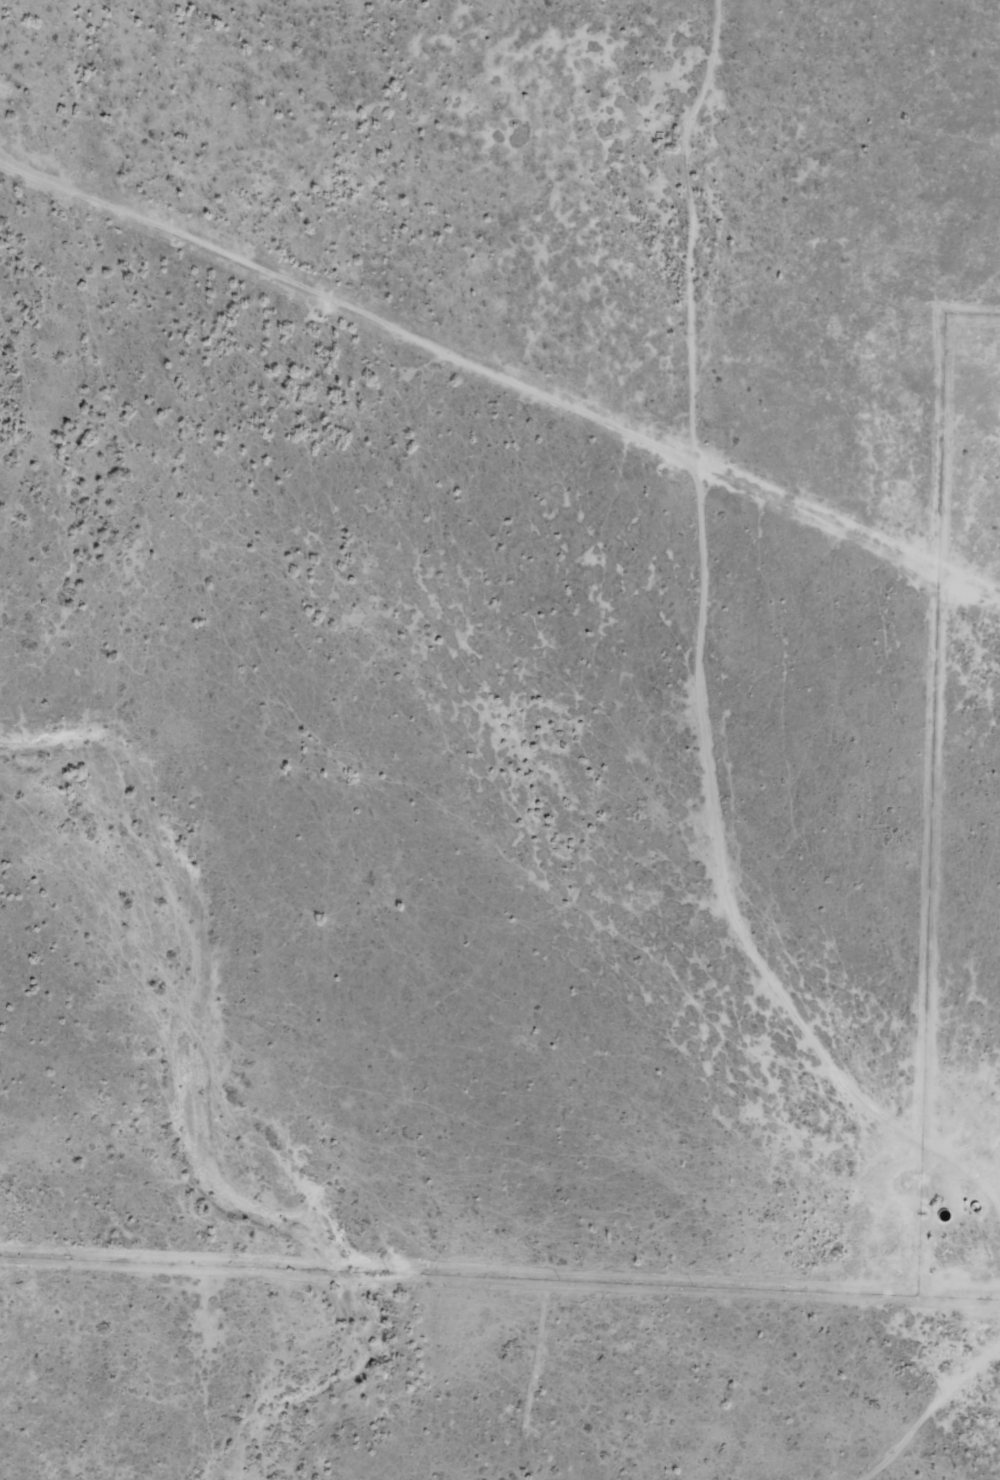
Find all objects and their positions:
road: (995, 1259)
road: (943, 1419)

